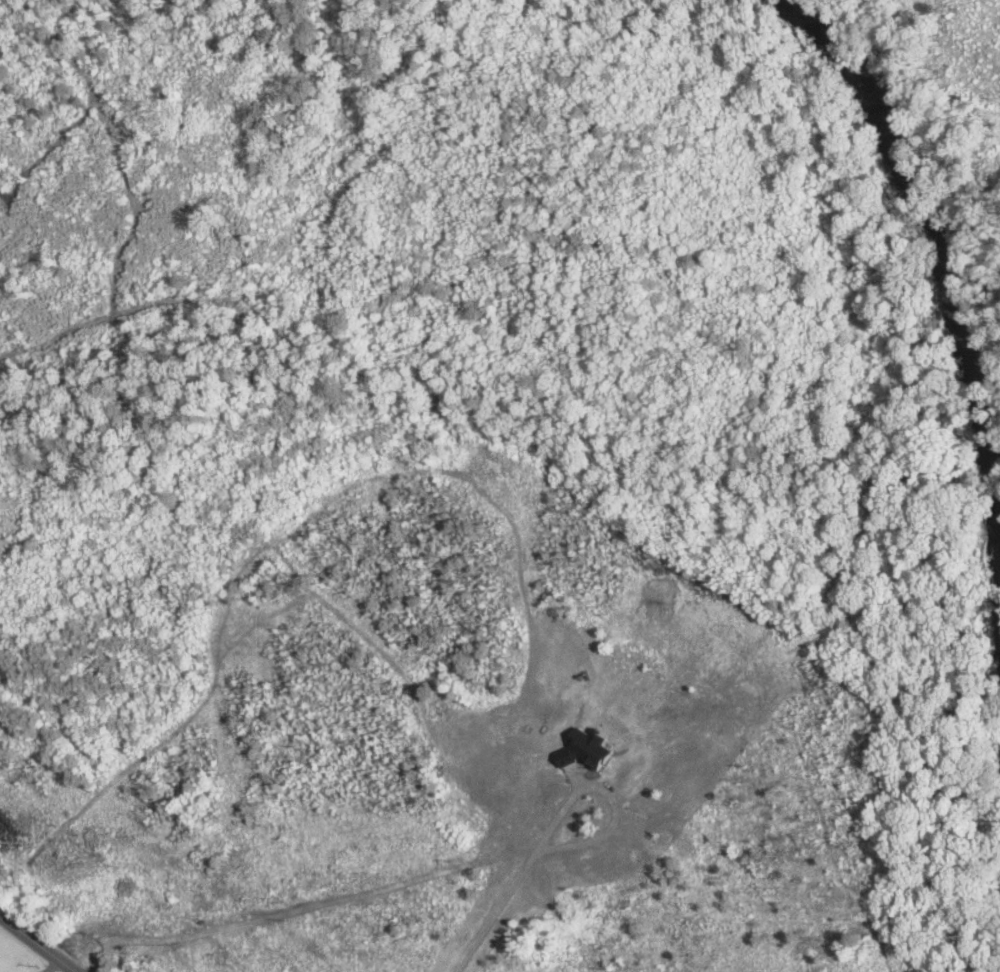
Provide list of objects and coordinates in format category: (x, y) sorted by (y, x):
road: (37, 937)

